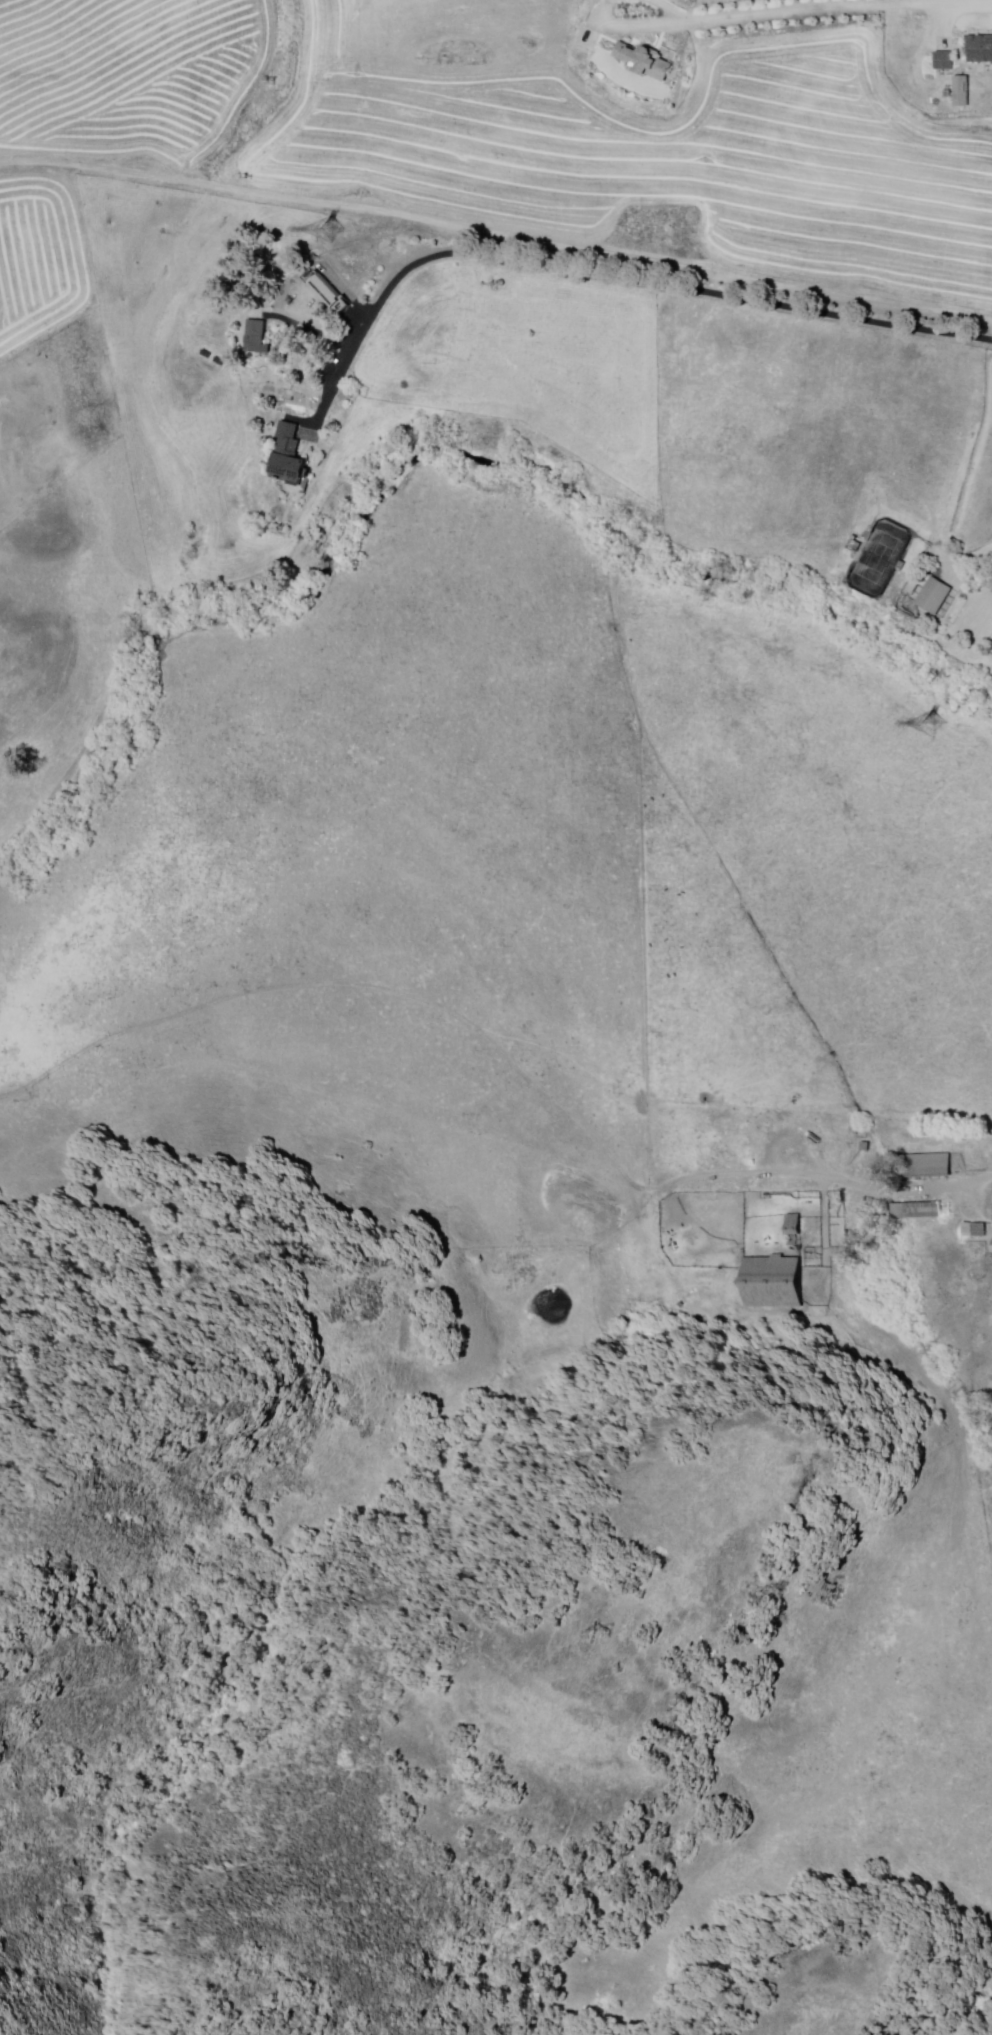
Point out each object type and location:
road: (841, 7)
road: (672, 10)
road: (638, 26)
building: (981, 50)
building: (947, 61)
building: (646, 66)
building: (964, 92)
power tower: (322, 229)
road: (496, 234)
road: (609, 274)
building: (330, 294)
road: (311, 327)
building: (259, 336)
building: (291, 456)
park: (879, 558)
building: (989, 582)
building: (935, 596)
road: (983, 627)
power tower: (923, 723)
building: (926, 1167)
road: (835, 1181)
building: (917, 1211)
building: (975, 1228)
building: (796, 1230)
building: (990, 1246)
building: (773, 1282)

